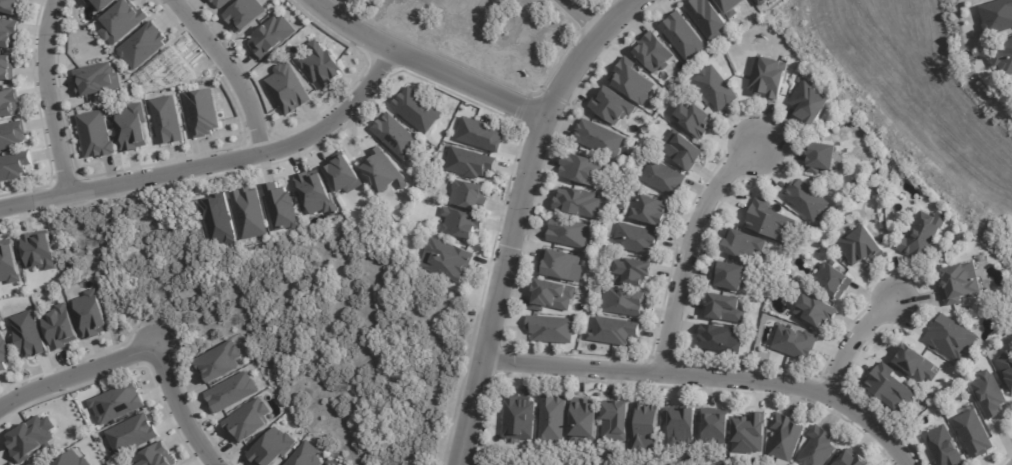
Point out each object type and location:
building: (88, 1)
building: (221, 2)
building: (761, 2)
building: (104, 3)
building: (12, 6)
building: (734, 6)
building: (245, 13)
road: (587, 16)
building: (996, 17)
building: (708, 18)
building: (122, 21)
building: (8, 32)
building: (271, 36)
building: (683, 36)
building: (142, 44)
building: (653, 51)
building: (1003, 57)
building: (321, 64)
road: (429, 65)
building: (7, 66)
road: (229, 69)
building: (772, 77)
building: (97, 79)
building: (633, 80)
building: (288, 87)
building: (718, 88)
road: (50, 95)
building: (813, 101)
building: (9, 102)
building: (611, 105)
building: (417, 109)
building: (203, 111)
building: (167, 119)
building: (697, 120)
building: (132, 126)
building: (479, 133)
building: (12, 134)
building: (95, 134)
building: (396, 136)
building: (599, 137)
building: (685, 150)
building: (824, 158)
building: (469, 162)
road: (214, 163)
building: (14, 164)
building: (383, 170)
building: (583, 170)
building: (343, 172)
building: (665, 178)
building: (316, 192)
building: (469, 195)
building: (809, 200)
building: (903, 201)
building: (580, 203)
building: (280, 206)
building: (652, 211)
building: (247, 212)
building: (912, 212)
building: (216, 217)
road: (517, 217)
building: (773, 222)
building: (460, 223)
building: (572, 233)
building: (909, 234)
building: (925, 236)
building: (639, 240)
building: (745, 245)
building: (861, 245)
road: (688, 248)
building: (38, 250)
building: (447, 259)
building: (8, 262)
building: (563, 266)
building: (638, 273)
building: (731, 277)
building: (835, 281)
building: (959, 283)
building: (554, 297)
building: (625, 303)
building: (728, 309)
building: (820, 311)
building: (91, 314)
building: (60, 326)
building: (553, 329)
building: (616, 332)
building: (28, 333)
building: (950, 337)
building: (723, 339)
road: (854, 339)
building: (798, 344)
building: (4, 353)
building: (218, 361)
building: (913, 361)
building: (1005, 371)
road: (76, 376)
road: (707, 378)
building: (887, 388)
building: (231, 391)
building: (989, 395)
building: (116, 401)
road: (180, 408)
building: (248, 419)
building: (521, 419)
building: (554, 419)
building: (586, 422)
building: (618, 422)
building: (680, 426)
building: (718, 426)
building: (646, 428)
building: (131, 432)
building: (752, 434)
building: (970, 435)
building: (30, 437)
building: (785, 438)
building: (271, 447)
building: (940, 447)
building: (820, 448)
building: (155, 455)
building: (305, 455)
park: (571, 457)
building: (73, 459)
building: (853, 459)
building: (329, 464)

